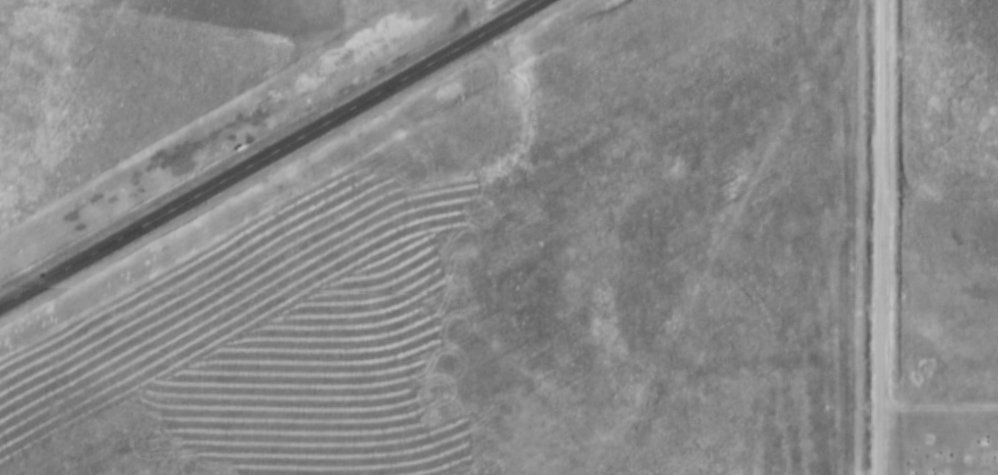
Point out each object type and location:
road: (271, 153)
road: (882, 237)
park: (948, 438)

